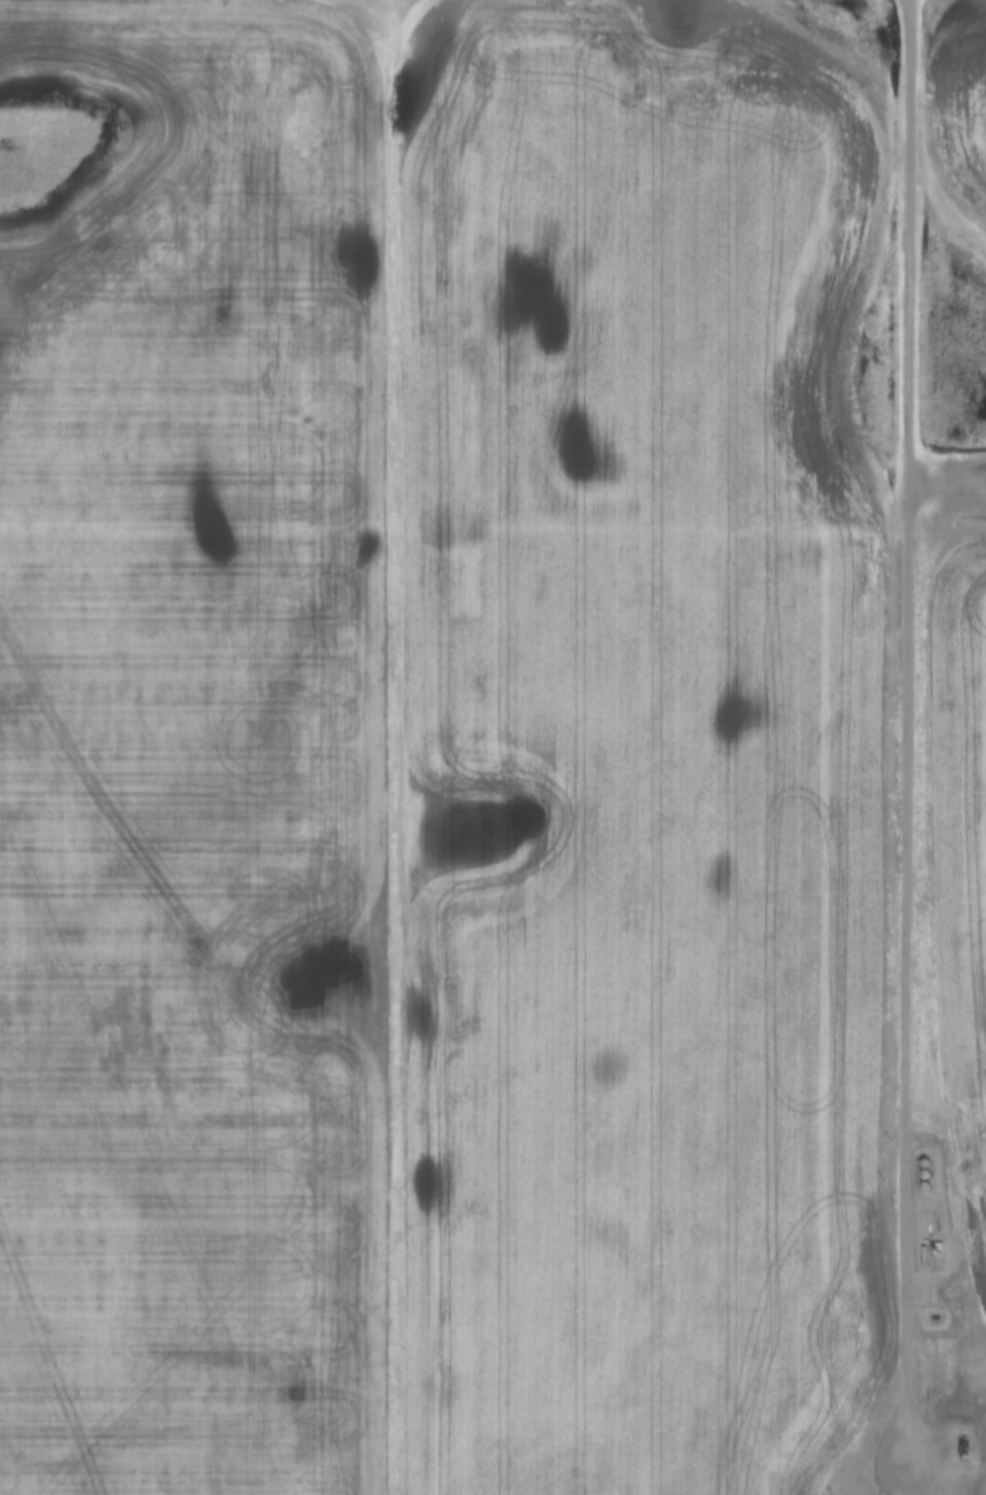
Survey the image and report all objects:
road: (969, 470)
road: (931, 474)
road: (968, 491)
road: (906, 733)

